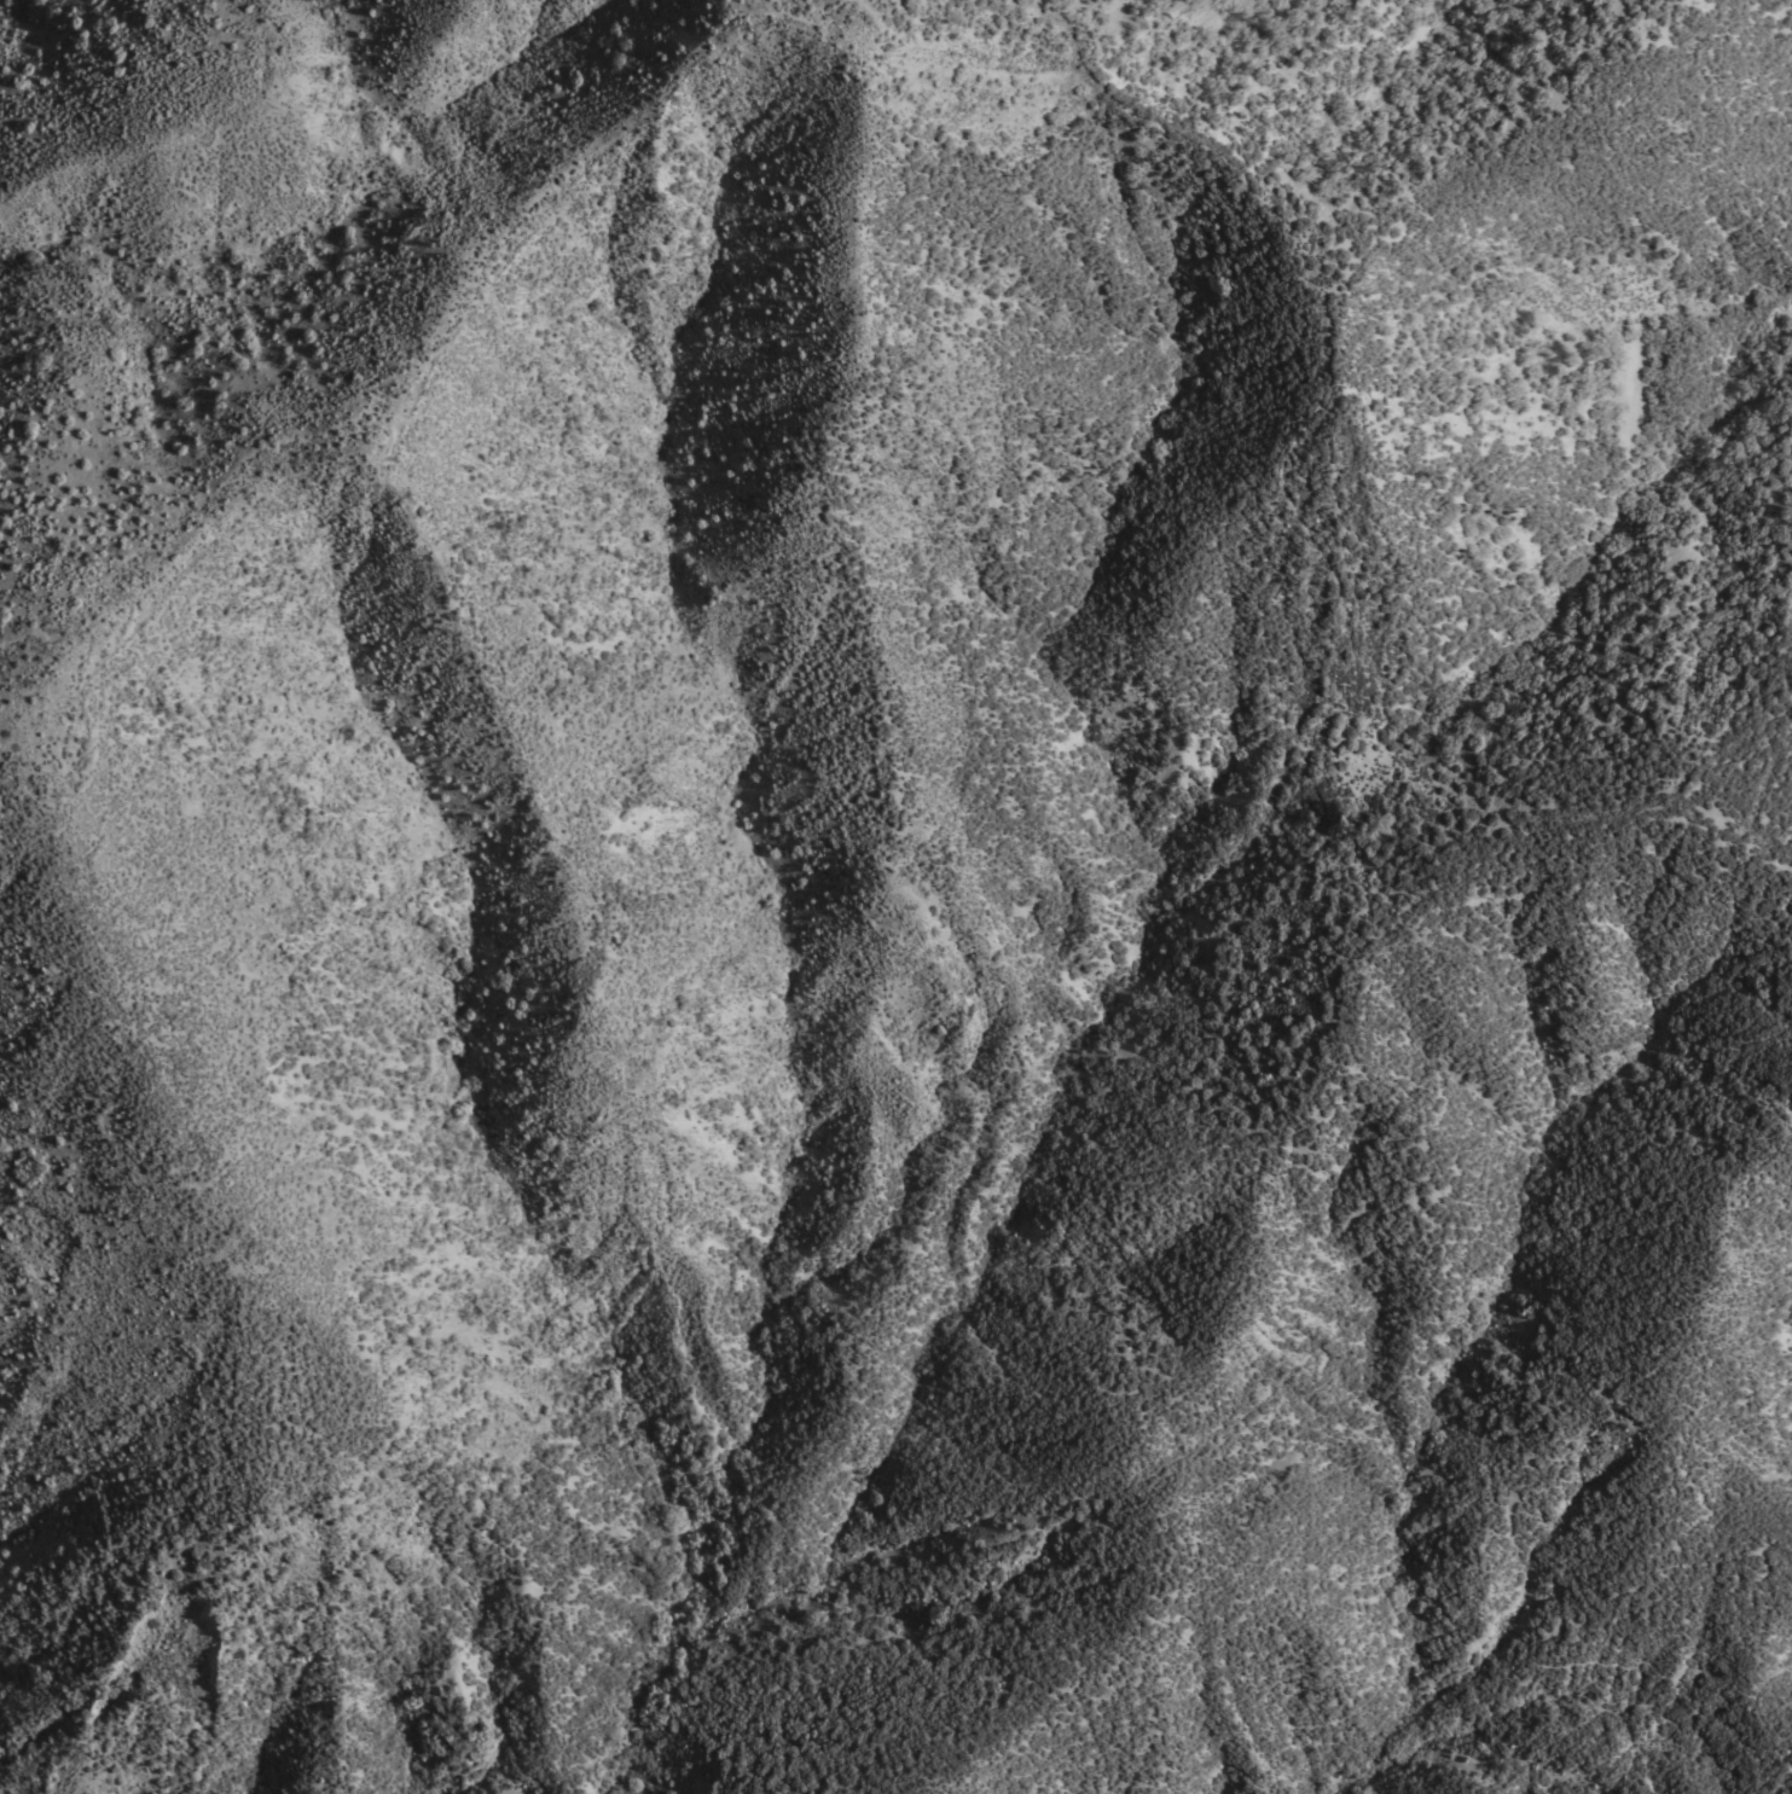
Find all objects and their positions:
road: (1449, 1620)
road: (614, 1771)
road: (471, 1775)

